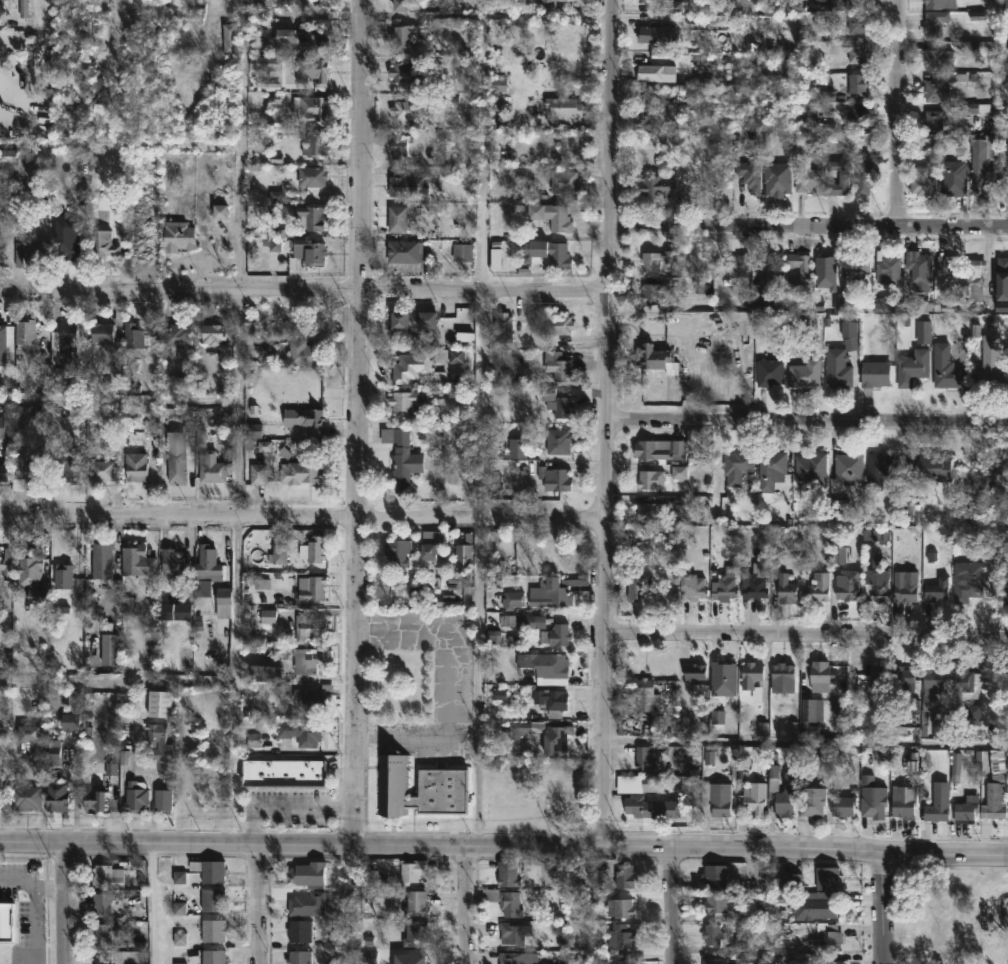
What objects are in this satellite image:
building: (641, 1)
building: (935, 3)
building: (549, 4)
building: (839, 4)
building: (402, 6)
building: (858, 22)
building: (934, 24)
building: (664, 31)
building: (408, 34)
building: (231, 38)
building: (299, 38)
building: (855, 51)
building: (935, 58)
building: (267, 62)
building: (314, 69)
building: (406, 71)
building: (655, 72)
building: (857, 82)
building: (501, 86)
building: (933, 90)
road: (483, 93)
building: (312, 106)
building: (564, 106)
building: (410, 108)
road: (897, 112)
building: (656, 114)
building: (858, 115)
building: (933, 120)
building: (316, 143)
building: (400, 147)
road: (122, 150)
building: (983, 161)
building: (749, 174)
building: (866, 175)
building: (314, 176)
building: (839, 177)
building: (952, 177)
building: (777, 178)
building: (807, 180)
building: (565, 181)
building: (922, 181)
building: (655, 185)
building: (405, 186)
building: (223, 206)
building: (554, 215)
building: (311, 217)
building: (398, 218)
road: (809, 224)
building: (68, 236)
building: (175, 236)
building: (105, 244)
building: (143, 246)
building: (311, 251)
building: (406, 251)
building: (464, 251)
building: (544, 253)
building: (20, 256)
building: (655, 260)
building: (736, 265)
building: (947, 265)
building: (887, 267)
building: (804, 268)
building: (919, 268)
building: (859, 269)
building: (766, 275)
building: (1002, 277)
building: (976, 281)
road: (303, 292)
building: (653, 293)
building: (413, 319)
building: (560, 325)
building: (505, 327)
building: (3, 331)
building: (923, 331)
building: (103, 332)
building: (29, 334)
building: (175, 334)
building: (215, 334)
building: (135, 335)
building: (65, 341)
building: (306, 353)
building: (992, 357)
building: (655, 358)
building: (560, 366)
building: (412, 367)
building: (912, 367)
building: (945, 368)
building: (836, 370)
building: (769, 373)
building: (804, 373)
building: (875, 374)
building: (408, 401)
building: (557, 402)
road: (121, 413)
building: (311, 417)
road: (361, 421)
road: (608, 422)
road: (808, 423)
building: (2, 426)
building: (205, 433)
building: (560, 443)
building: (519, 448)
building: (680, 448)
road: (243, 451)
building: (649, 451)
building: (401, 456)
building: (72, 465)
building: (137, 466)
building: (176, 466)
building: (738, 466)
building: (849, 466)
building: (213, 468)
building: (930, 468)
building: (811, 469)
building: (880, 469)
building: (103, 470)
building: (771, 470)
building: (4, 472)
building: (303, 473)
building: (681, 473)
building: (29, 475)
building: (260, 475)
building: (555, 478)
building: (651, 480)
building: (651, 511)
road: (303, 518)
building: (434, 545)
building: (316, 549)
building: (399, 551)
building: (281, 552)
building: (465, 553)
building: (642, 557)
building: (139, 560)
building: (103, 561)
building: (173, 561)
building: (5, 562)
building: (209, 566)
building: (65, 574)
building: (32, 576)
building: (965, 581)
building: (755, 582)
building: (878, 584)
building: (634, 585)
building: (691, 585)
building: (312, 586)
building: (723, 587)
building: (818, 587)
building: (937, 587)
building: (846, 588)
building: (903, 590)
building: (787, 591)
building: (552, 594)
building: (513, 599)
building: (225, 601)
building: (174, 609)
building: (270, 618)
building: (533, 621)
building: (311, 626)
building: (558, 635)
road: (807, 635)
building: (111, 650)
building: (183, 657)
building: (307, 662)
building: (548, 665)
building: (268, 671)
building: (694, 671)
building: (783, 672)
building: (820, 675)
building: (968, 677)
building: (752, 678)
building: (934, 678)
road: (480, 682)
building: (902, 682)
building: (871, 683)
road: (121, 687)
building: (646, 694)
building: (316, 697)
building: (553, 701)
building: (162, 705)
building: (809, 708)
building: (928, 709)
building: (74, 712)
building: (518, 730)
building: (303, 731)
building: (36, 732)
building: (157, 733)
building: (1, 734)
building: (559, 740)
road: (803, 742)
building: (644, 757)
building: (167, 761)
building: (286, 775)
building: (652, 783)
building: (3, 785)
building: (418, 786)
building: (102, 791)
building: (780, 794)
building: (995, 794)
building: (59, 796)
building: (749, 796)
building: (27, 797)
building: (717, 797)
building: (872, 797)
building: (138, 799)
building: (165, 800)
building: (904, 800)
building: (812, 801)
building: (842, 804)
road: (296, 805)
building: (650, 806)
building: (187, 807)
building: (937, 808)
building: (965, 809)
road: (503, 844)
road: (943, 865)
building: (212, 870)
building: (411, 870)
building: (308, 872)
building: (508, 873)
building: (107, 875)
building: (715, 875)
building: (619, 876)
building: (828, 878)
road: (31, 884)
building: (213, 899)
building: (504, 900)
road: (63, 901)
road: (150, 902)
road: (255, 902)
building: (102, 903)
building: (307, 903)
road: (359, 903)
building: (416, 903)
road: (465, 903)
road: (671, 904)
building: (719, 905)
road: (880, 906)
building: (620, 907)
building: (820, 907)
road: (958, 910)
park: (955, 916)
road: (34, 924)
building: (299, 929)
building: (212, 930)
building: (104, 933)
building: (414, 933)
building: (514, 933)
building: (711, 934)
building: (622, 935)
building: (827, 941)
building: (213, 956)
building: (299, 957)
building: (517, 957)
building: (102, 958)
building: (407, 958)
building: (620, 959)
building: (715, 960)
building: (832, 962)

